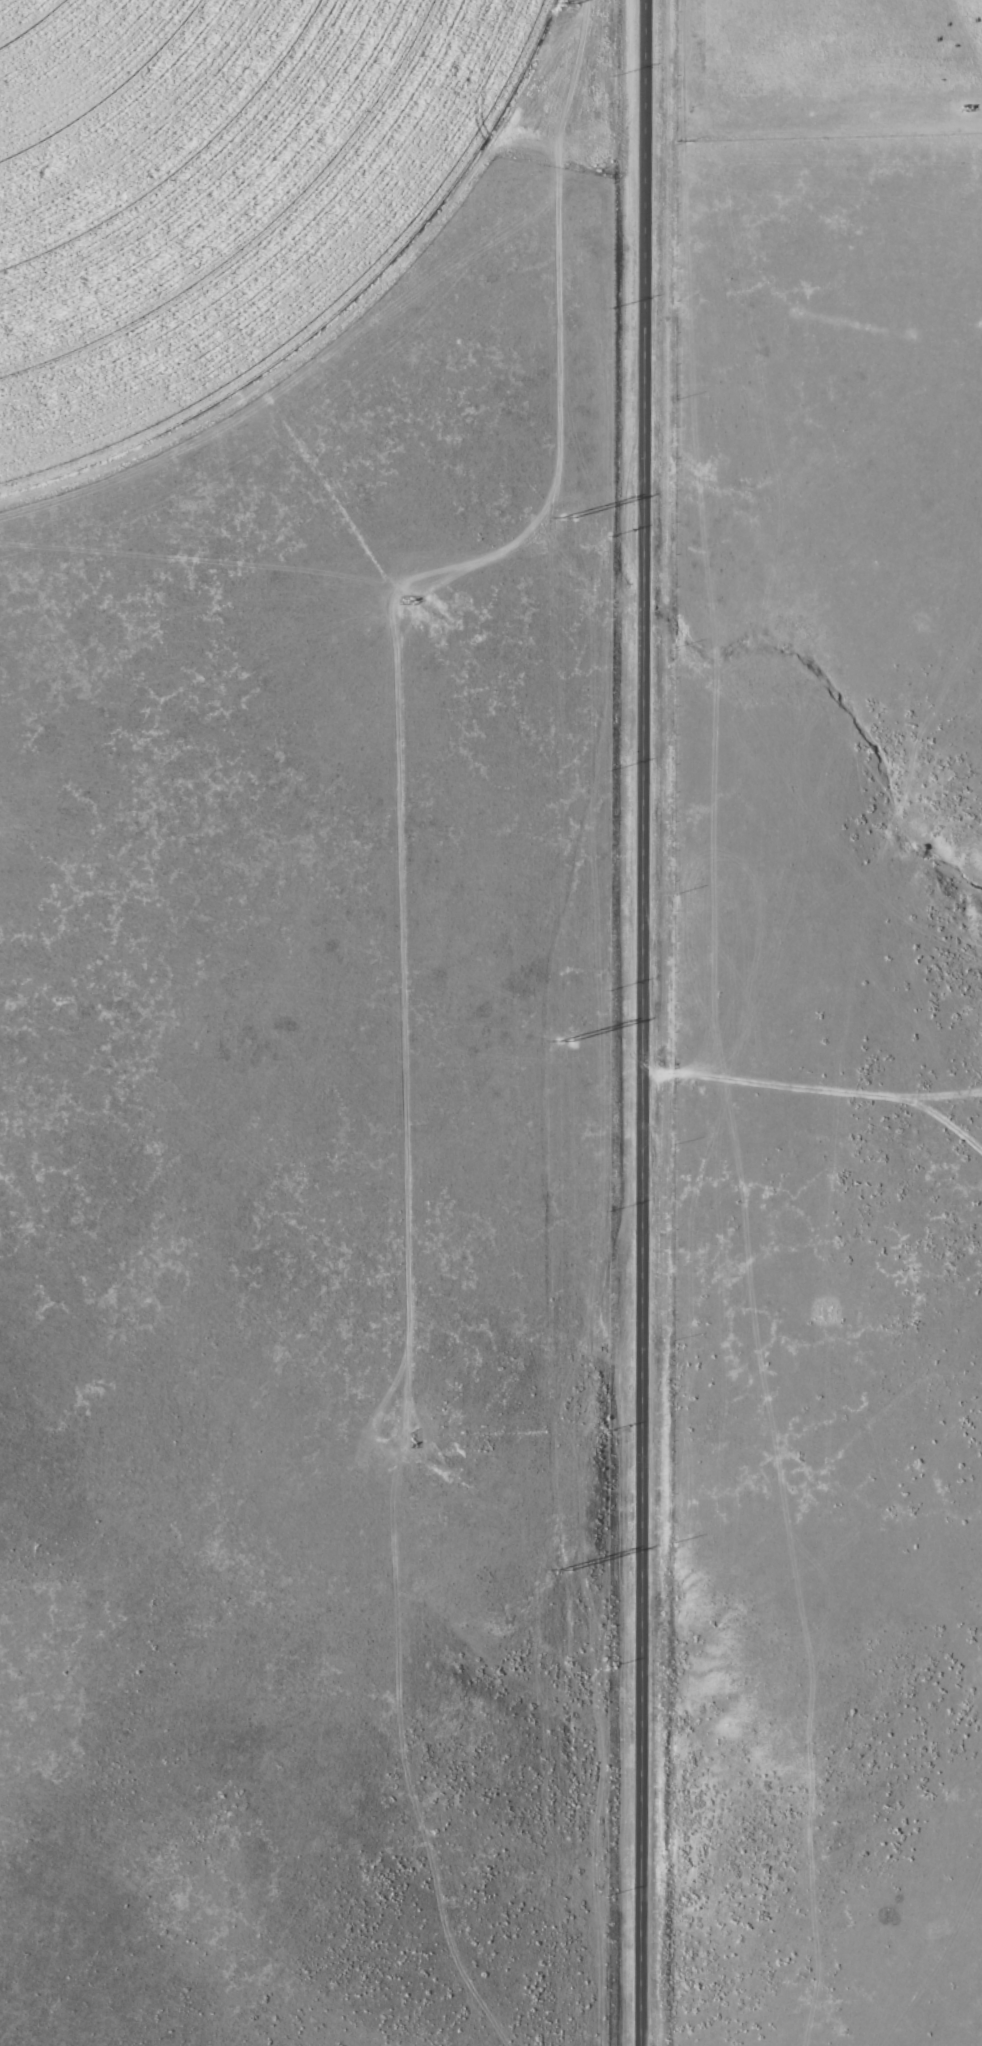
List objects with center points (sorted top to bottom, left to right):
power tower: (568, 5)
power tower: (567, 518)
road: (645, 1023)
power tower: (563, 1043)
power tower: (563, 1572)

